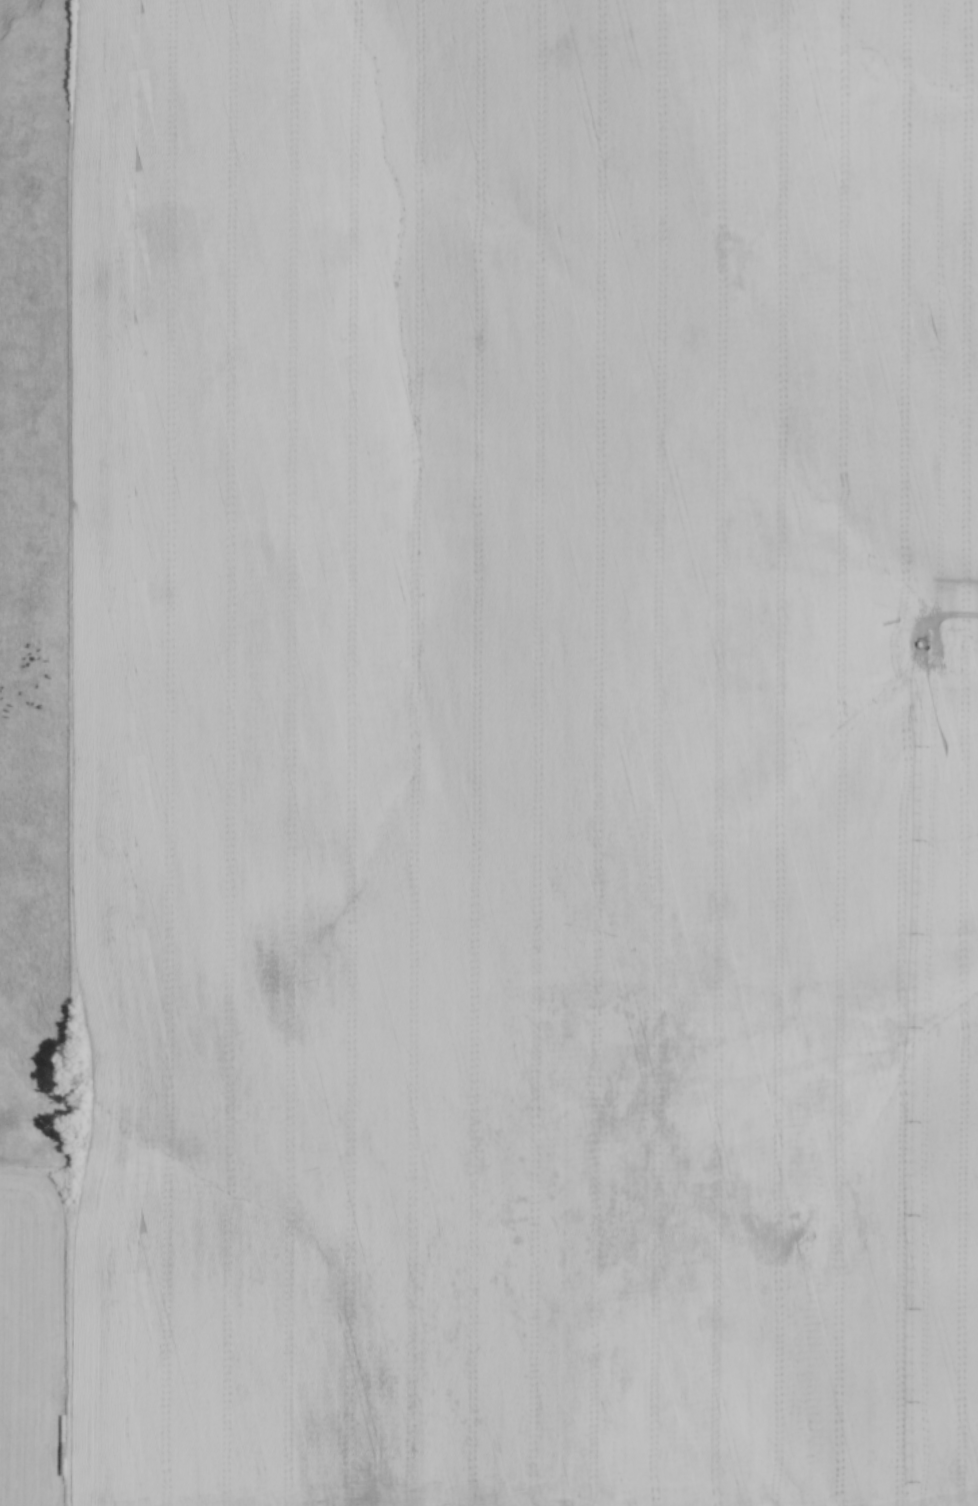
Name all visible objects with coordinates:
road: (667, 1364)

